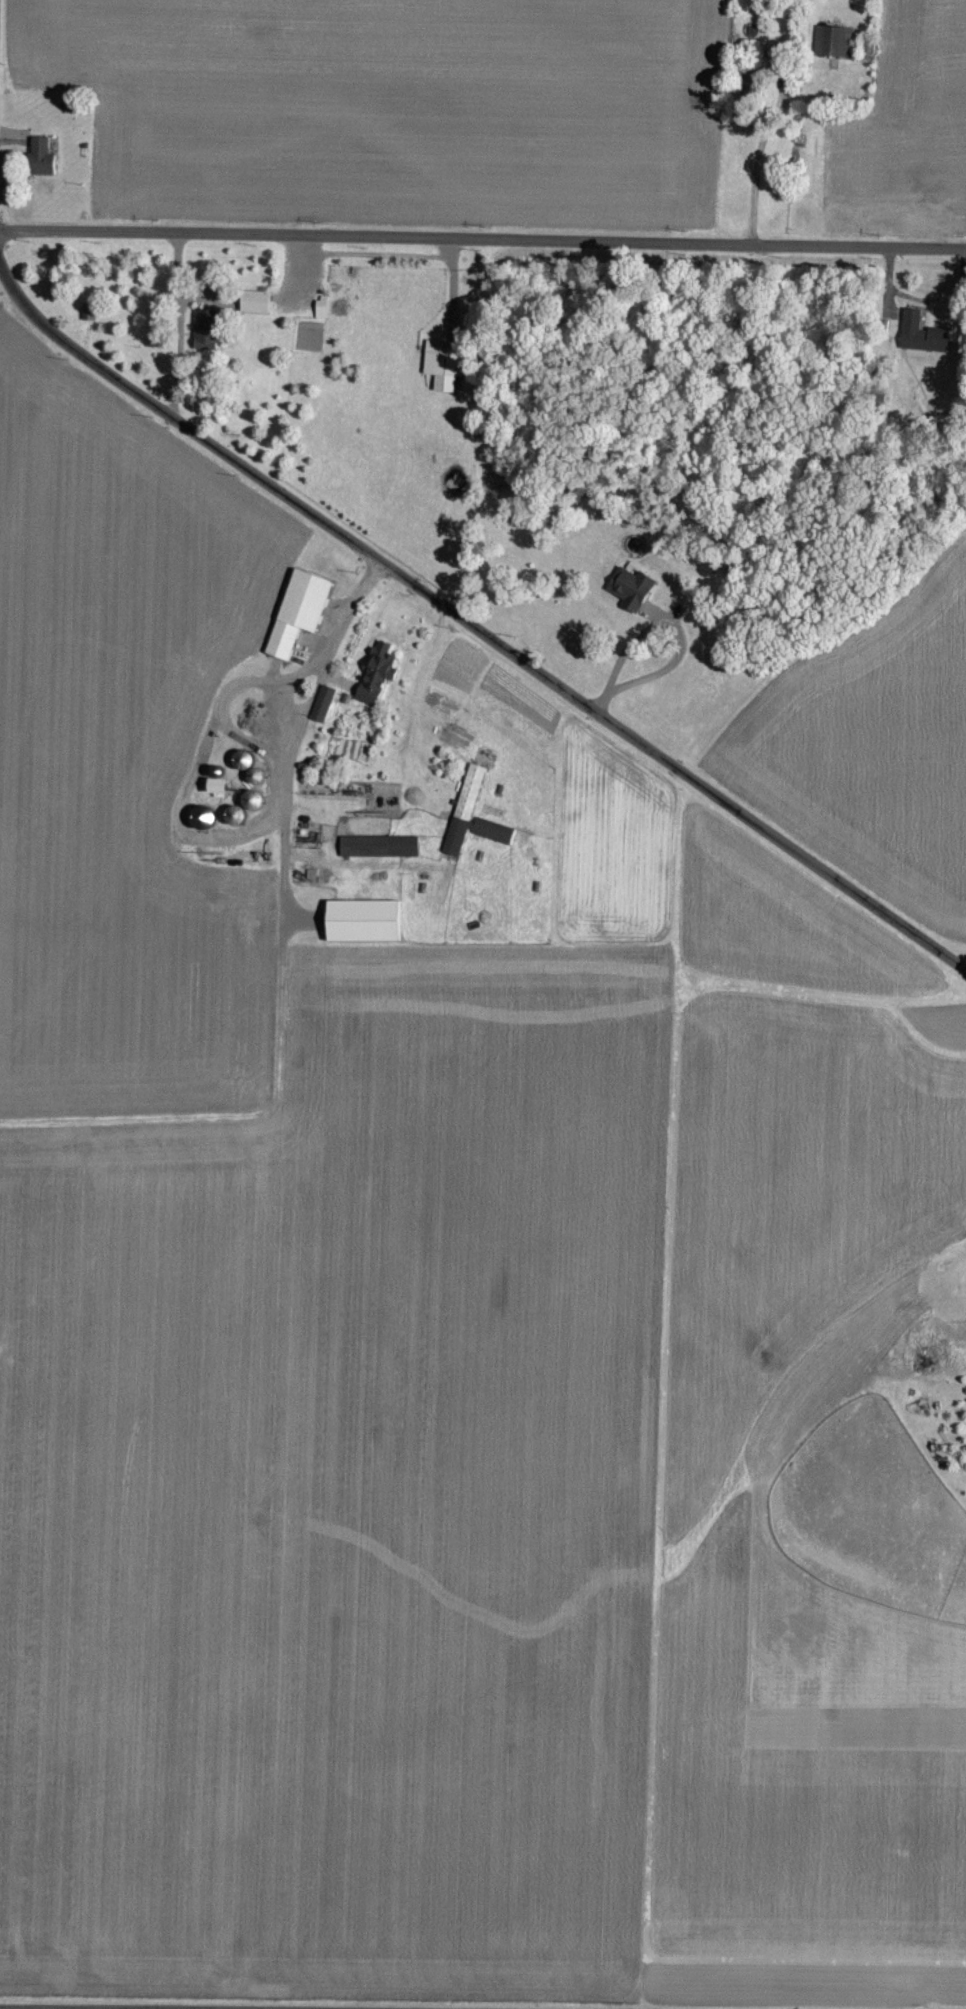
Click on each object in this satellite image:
building: (832, 41)
building: (38, 155)
road: (483, 238)
building: (254, 301)
building: (321, 306)
building: (203, 329)
building: (921, 334)
building: (443, 364)
building: (629, 588)
building: (296, 612)
road: (474, 623)
building: (375, 675)
building: (321, 703)
building: (213, 787)
building: (472, 815)
building: (198, 817)
building: (378, 846)
building: (361, 921)
road: (51, 2008)

